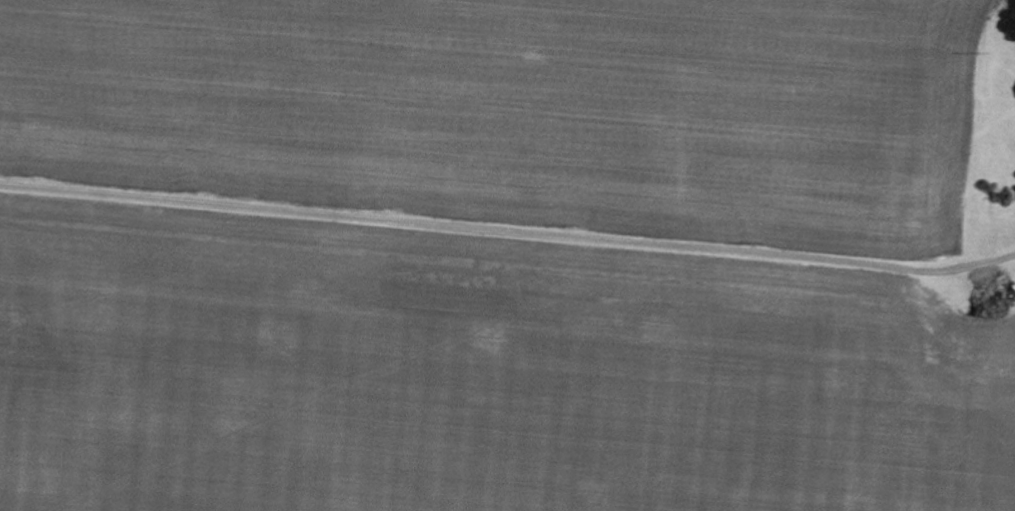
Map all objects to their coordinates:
road: (511, 203)

